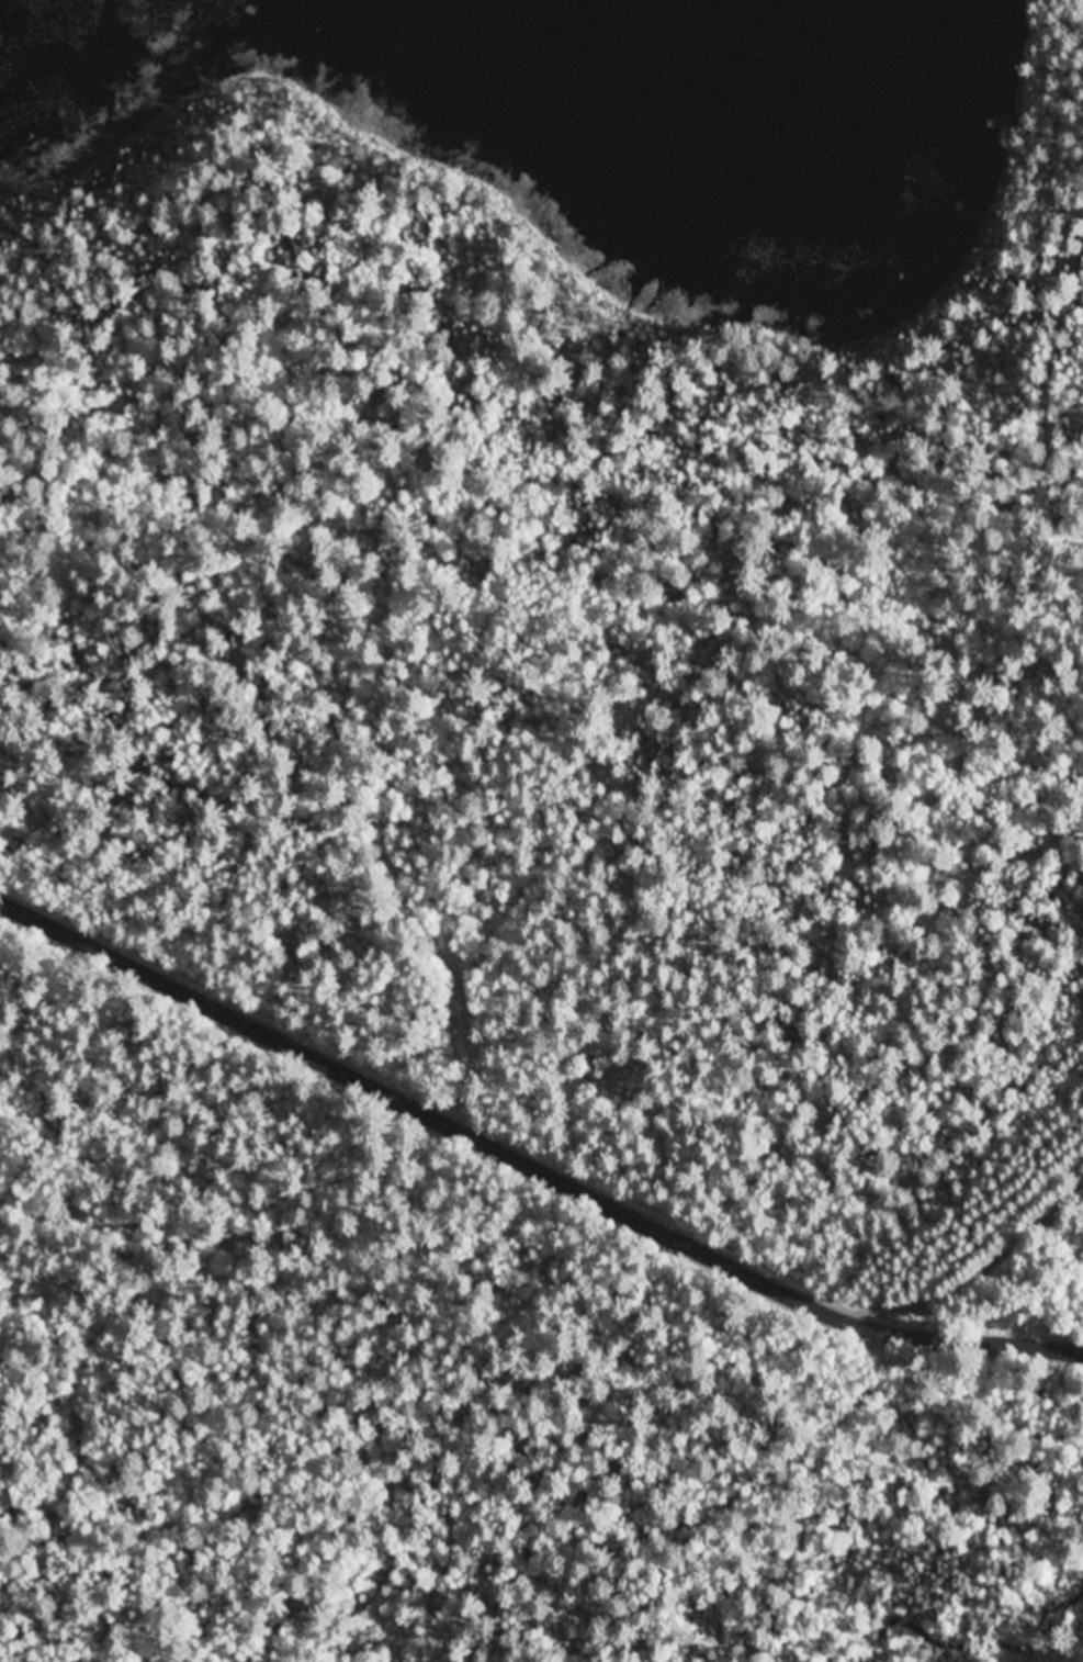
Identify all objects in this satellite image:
road: (830, 701)
road: (530, 1158)

